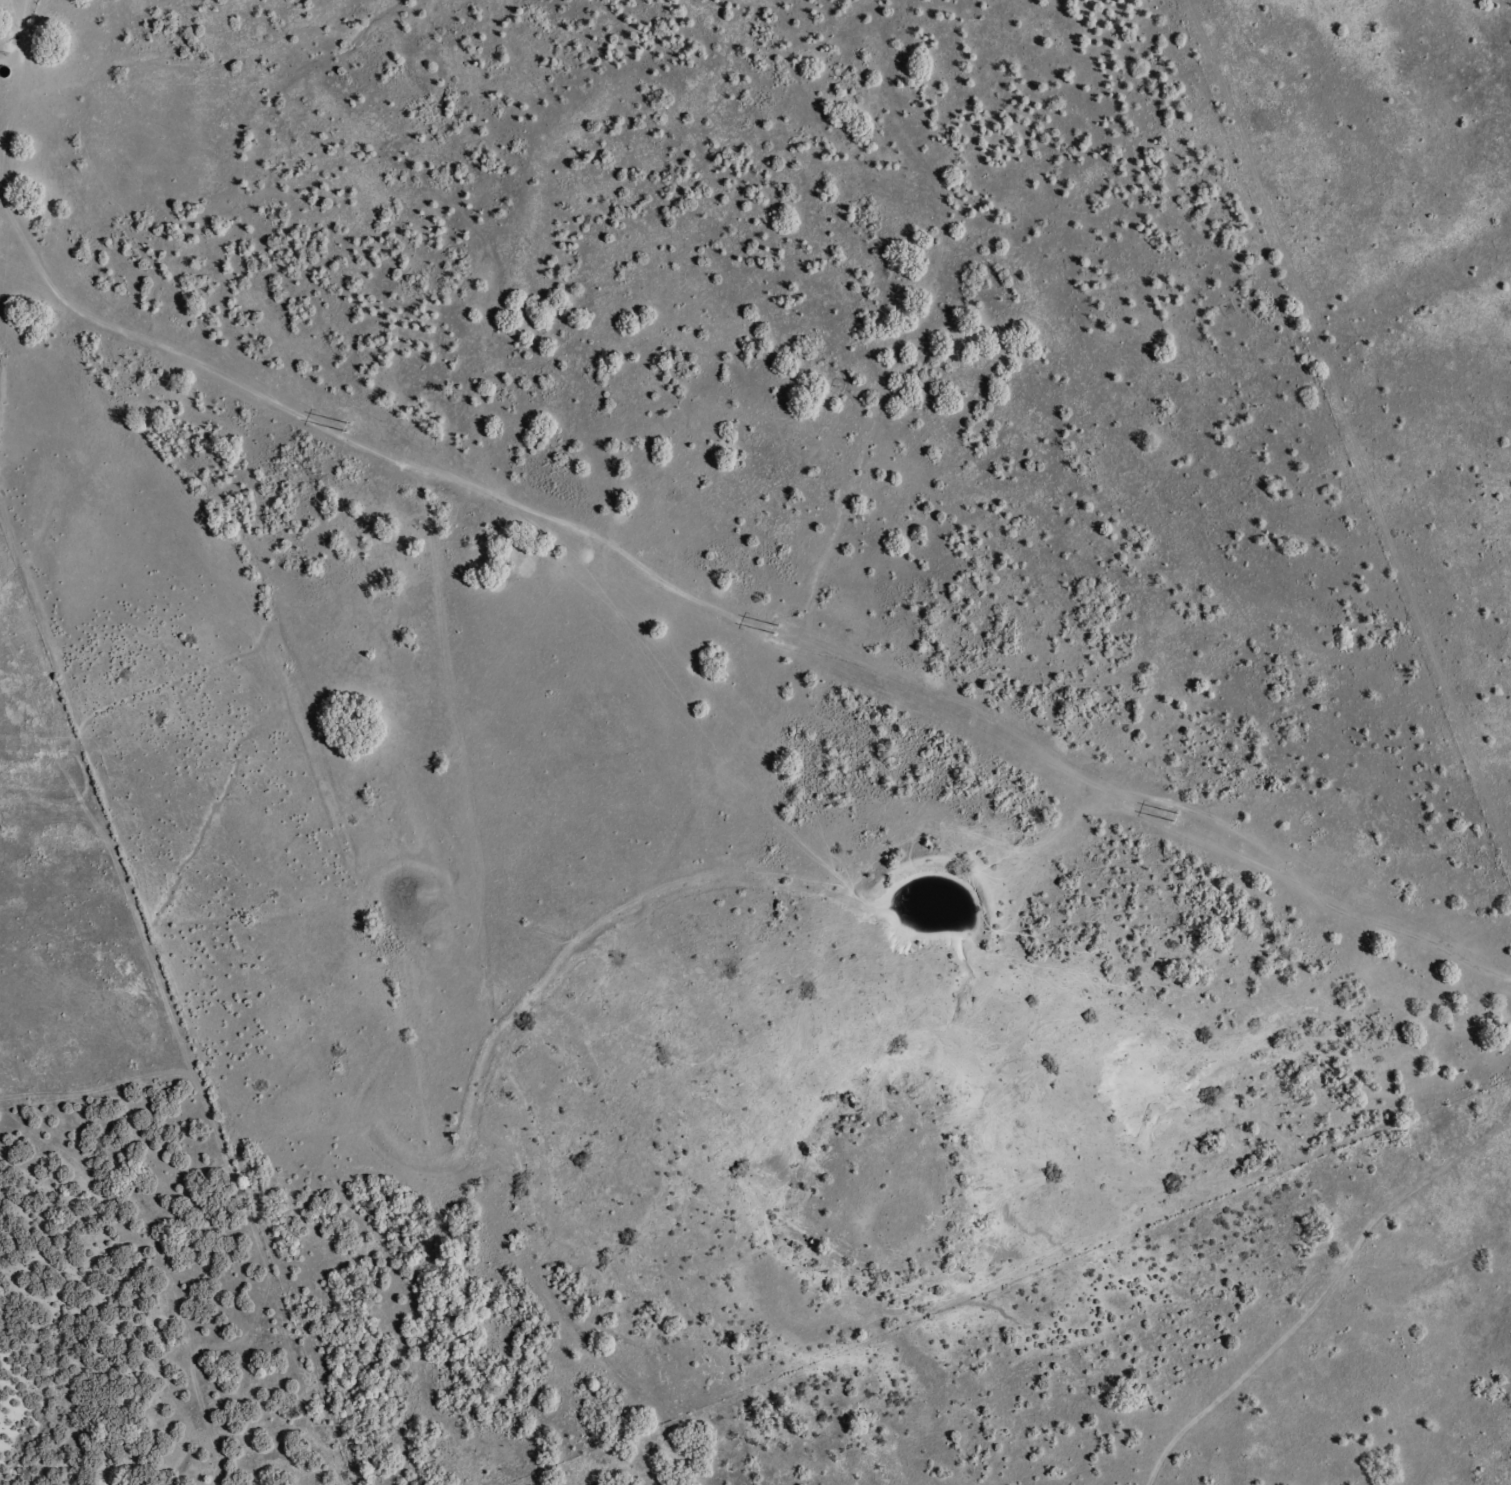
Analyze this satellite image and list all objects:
power tower: (105, 314)
power tower: (404, 454)
power tower: (700, 594)
power tower: (969, 721)
power tower: (1240, 848)
road: (1356, 1298)

